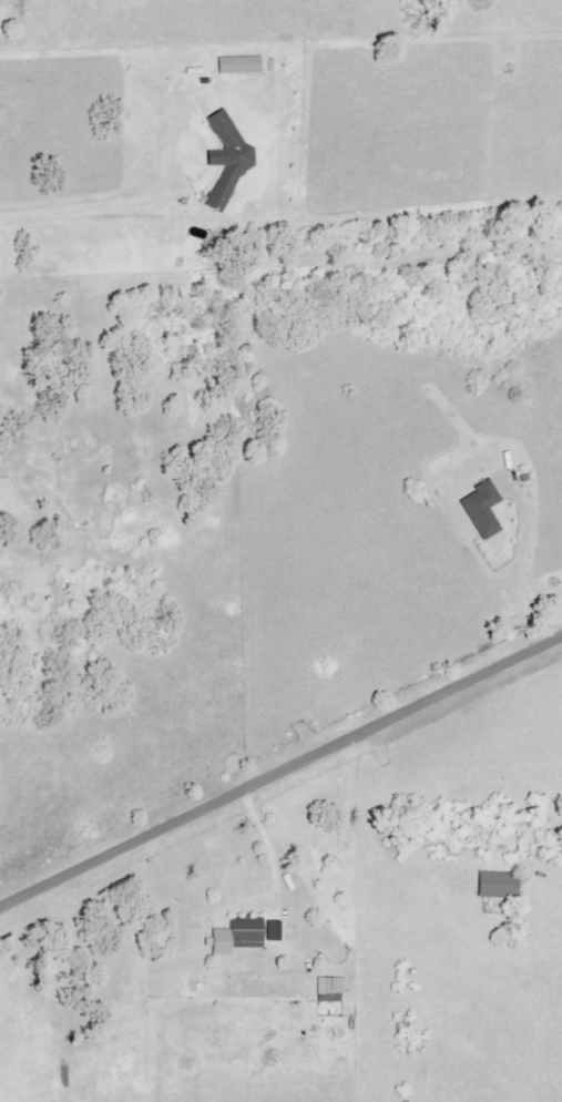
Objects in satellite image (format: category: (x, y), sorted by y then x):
building: (243, 63)
building: (221, 140)
building: (232, 159)
road: (96, 190)
building: (1, 457)
building: (7, 487)
building: (477, 490)
building: (487, 508)
road: (517, 550)
road: (283, 771)
road: (269, 845)
building: (502, 885)
building: (277, 931)
building: (241, 936)
building: (333, 990)

